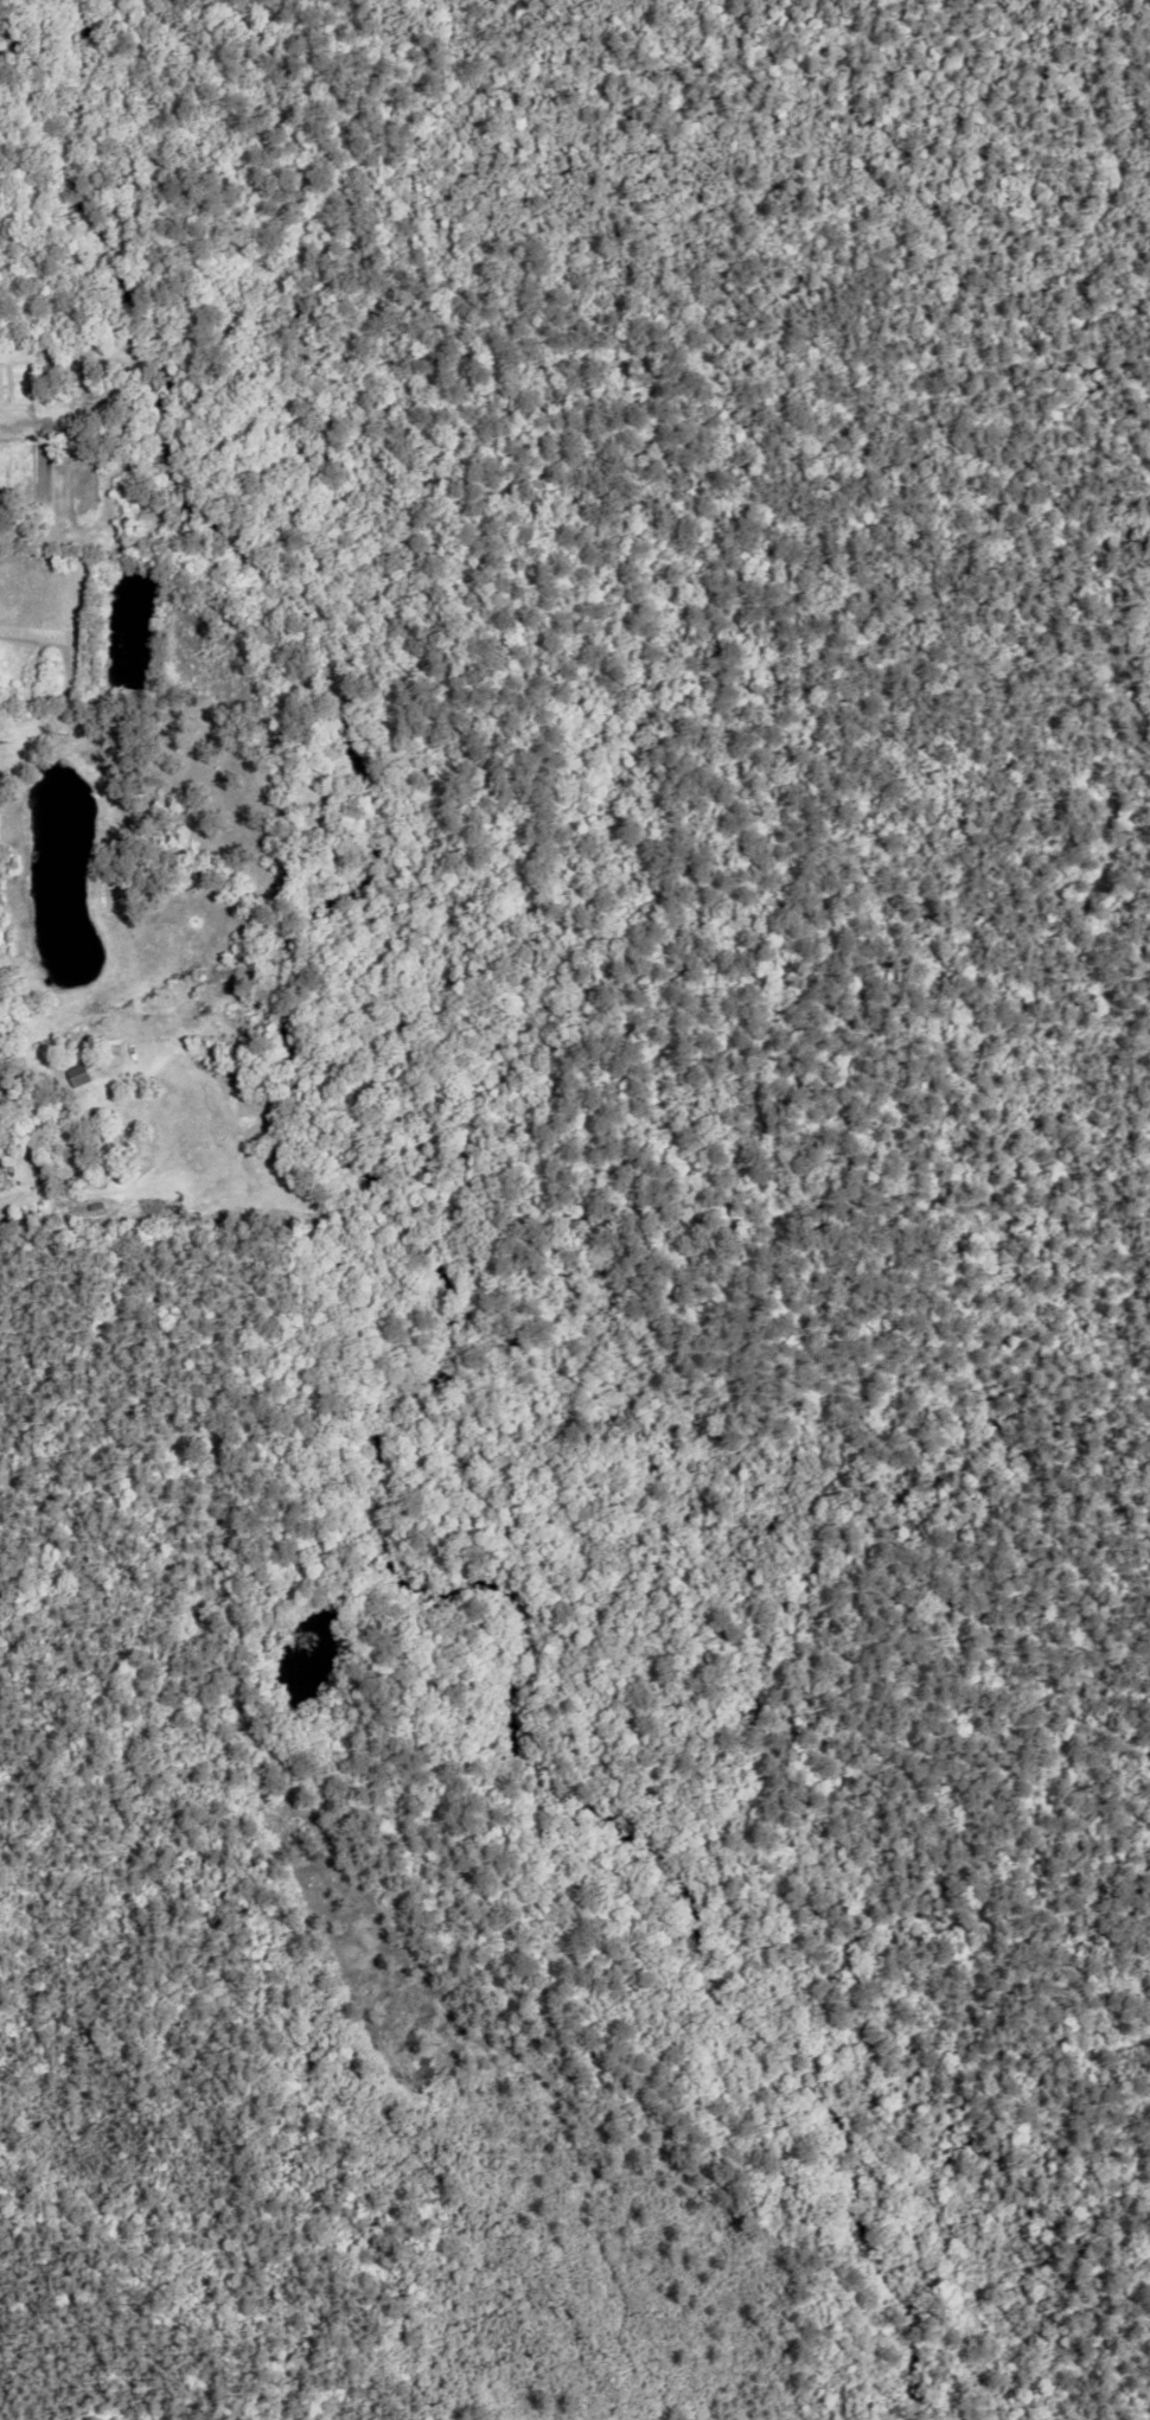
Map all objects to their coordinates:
building: (76, 1072)
building: (79, 1091)
building: (0, 1173)

